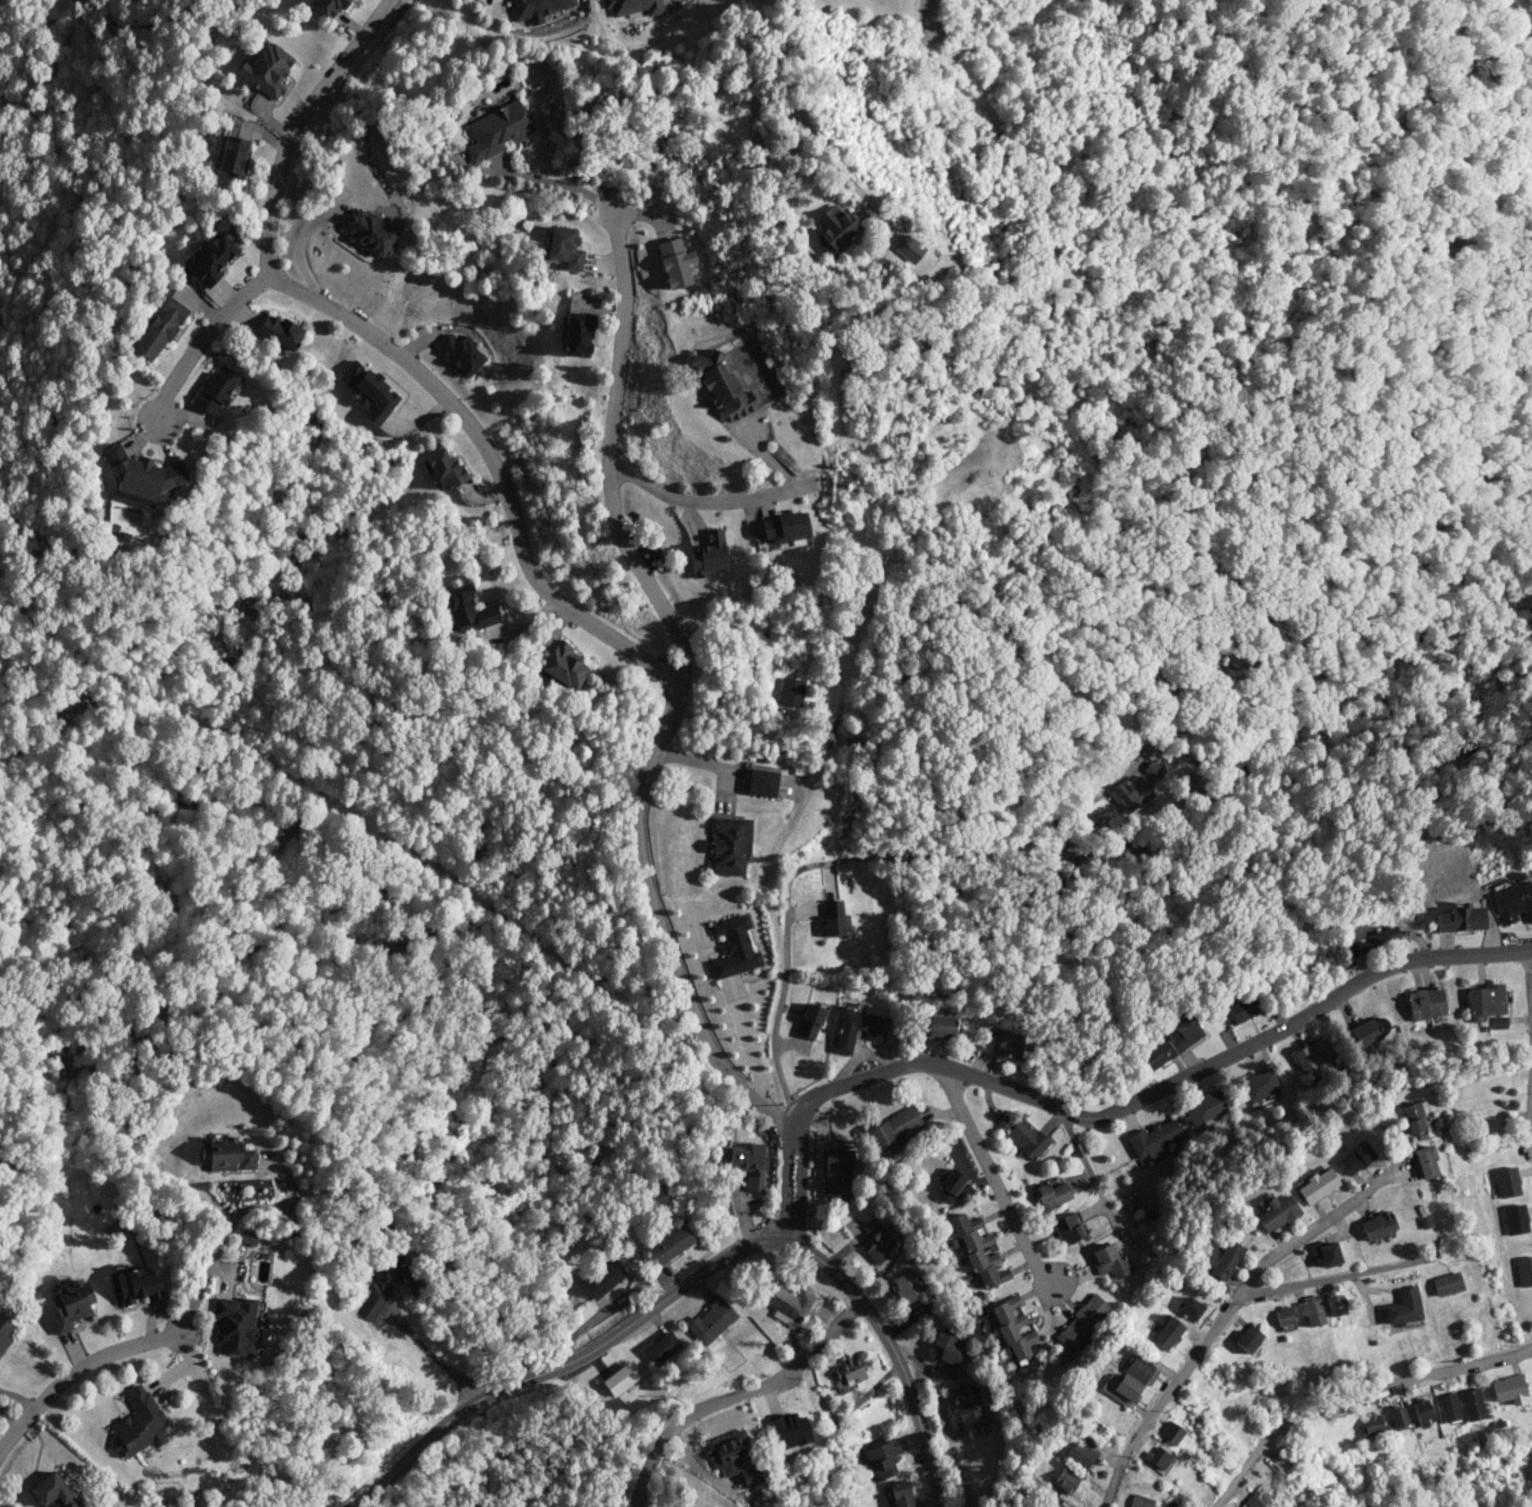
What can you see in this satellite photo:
building: (328, 6)
building: (633, 6)
building: (537, 8)
road: (931, 9)
building: (267, 70)
road: (700, 100)
building: (497, 130)
building: (234, 156)
building: (369, 230)
building: (835, 230)
building: (564, 246)
building: (209, 259)
building: (675, 262)
building: (158, 328)
building: (280, 331)
building: (577, 334)
road: (207, 344)
building: (460, 353)
road: (395, 354)
building: (722, 385)
building: (217, 388)
building: (368, 391)
building: (444, 469)
building: (140, 475)
road: (711, 508)
building: (784, 527)
building: (708, 552)
building: (467, 608)
building: (563, 665)
building: (790, 691)
road: (665, 738)
building: (1152, 768)
building: (761, 782)
building: (1128, 792)
building: (729, 844)
building: (1513, 902)
building: (832, 918)
building: (1461, 918)
road: (782, 939)
building: (1370, 941)
building: (734, 947)
road: (1530, 975)
building: (1485, 1000)
building: (1425, 1003)
building: (1243, 1009)
building: (810, 1020)
building: (1498, 1022)
building: (936, 1026)
building: (858, 1028)
building: (1365, 1033)
building: (1174, 1041)
building: (1008, 1045)
building: (1313, 1054)
building: (1259, 1084)
road: (1155, 1090)
building: (1204, 1107)
road: (1529, 1116)
building: (1414, 1118)
building: (893, 1129)
building: (1021, 1135)
building: (1154, 1138)
building: (225, 1153)
building: (1356, 1158)
building: (1425, 1160)
building: (748, 1163)
building: (837, 1170)
road: (1092, 1176)
road: (991, 1178)
building: (1506, 1181)
building: (1317, 1185)
building: (953, 1187)
building: (1051, 1194)
road: (256, 1206)
building: (1276, 1211)
building: (1515, 1218)
building: (1377, 1225)
road: (1312, 1228)
building: (1067, 1229)
building: (248, 1237)
building: (877, 1241)
building: (671, 1243)
building: (977, 1250)
building: (1326, 1253)
building: (1226, 1260)
building: (1110, 1261)
building: (1524, 1270)
building: (603, 1279)
building: (138, 1283)
building: (1447, 1283)
building: (387, 1287)
building: (906, 1287)
road: (194, 1302)
building: (785, 1302)
building: (69, 1303)
building: (1334, 1304)
building: (1403, 1306)
building: (1191, 1308)
building: (1310, 1309)
road: (1223, 1315)
building: (1283, 1315)
building: (711, 1321)
building: (1082, 1322)
building: (235, 1325)
building: (1013, 1328)
building: (4, 1332)
building: (1167, 1332)
building: (1248, 1338)
building: (948, 1346)
building: (661, 1347)
road: (896, 1355)
road: (562, 1360)
building: (1140, 1370)
road: (75, 1371)
building: (850, 1371)
building: (620, 1379)
building: (1121, 1388)
building: (1508, 1389)
road: (1352, 1394)
road: (736, 1397)
building: (1472, 1403)
building: (1448, 1406)
building: (968, 1409)
building: (1421, 1411)
building: (1397, 1416)
building: (1371, 1423)
building: (137, 1424)
building: (790, 1430)
building: (1171, 1432)
building: (1080, 1454)
building: (734, 1457)
building: (1158, 1457)
building: (881, 1458)
building: (1066, 1480)
building: (53, 1491)
building: (897, 1494)
building: (1140, 1501)
building: (1252, 1503)

